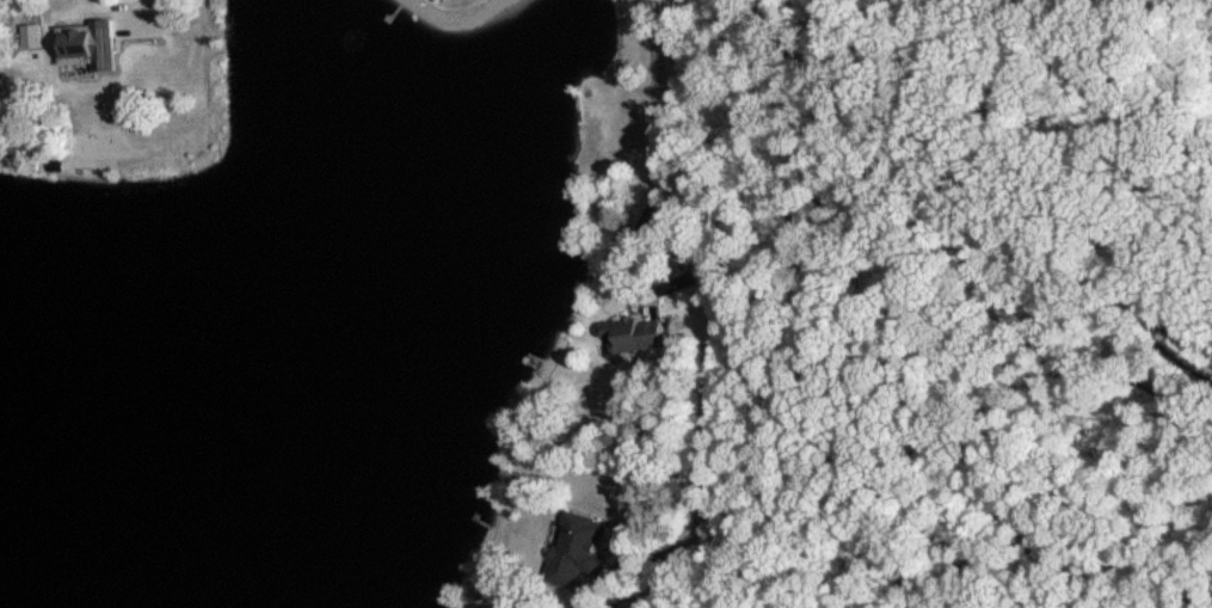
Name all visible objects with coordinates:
road: (148, 6)
building: (32, 35)
road: (708, 313)
building: (636, 332)
building: (582, 547)

